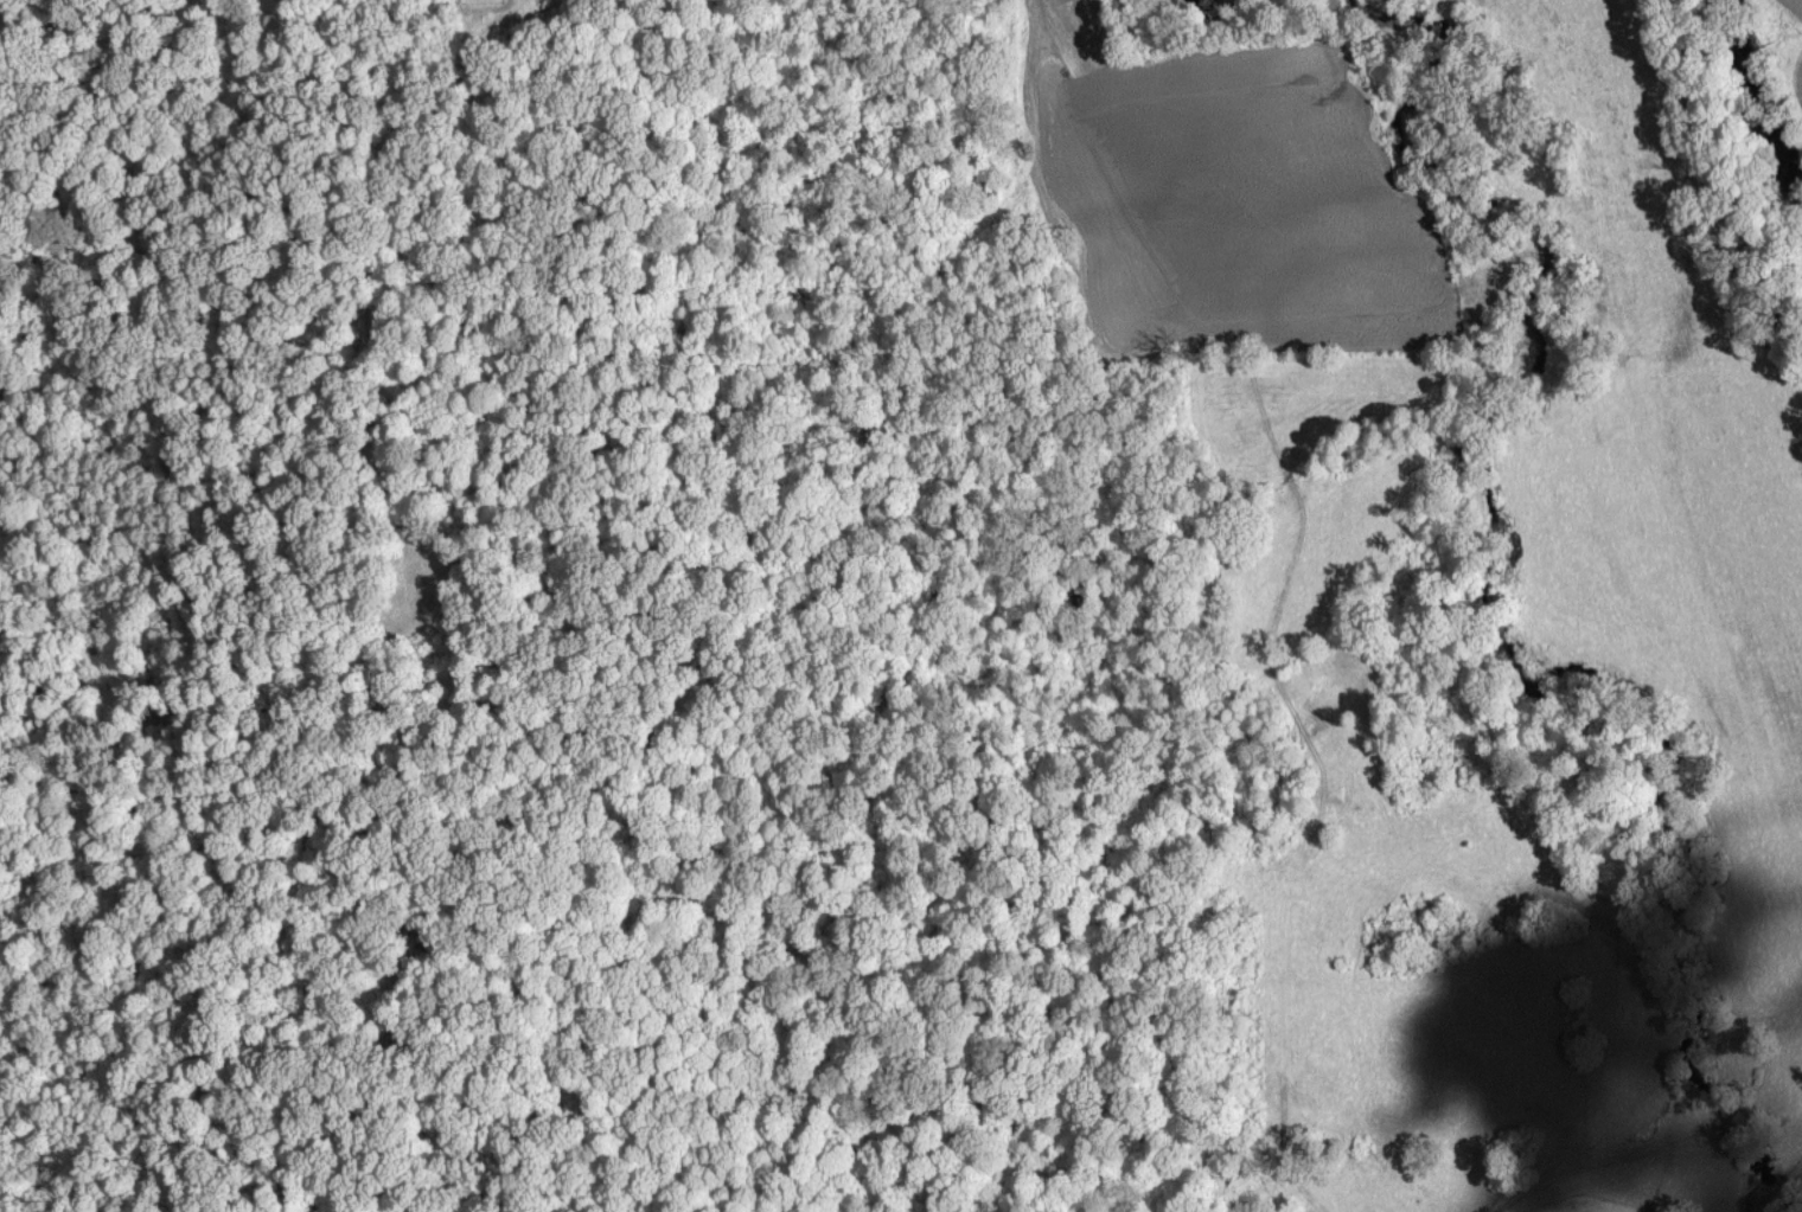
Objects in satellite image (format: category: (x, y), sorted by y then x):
river: (1749, 103)
road: (1784, 1189)

